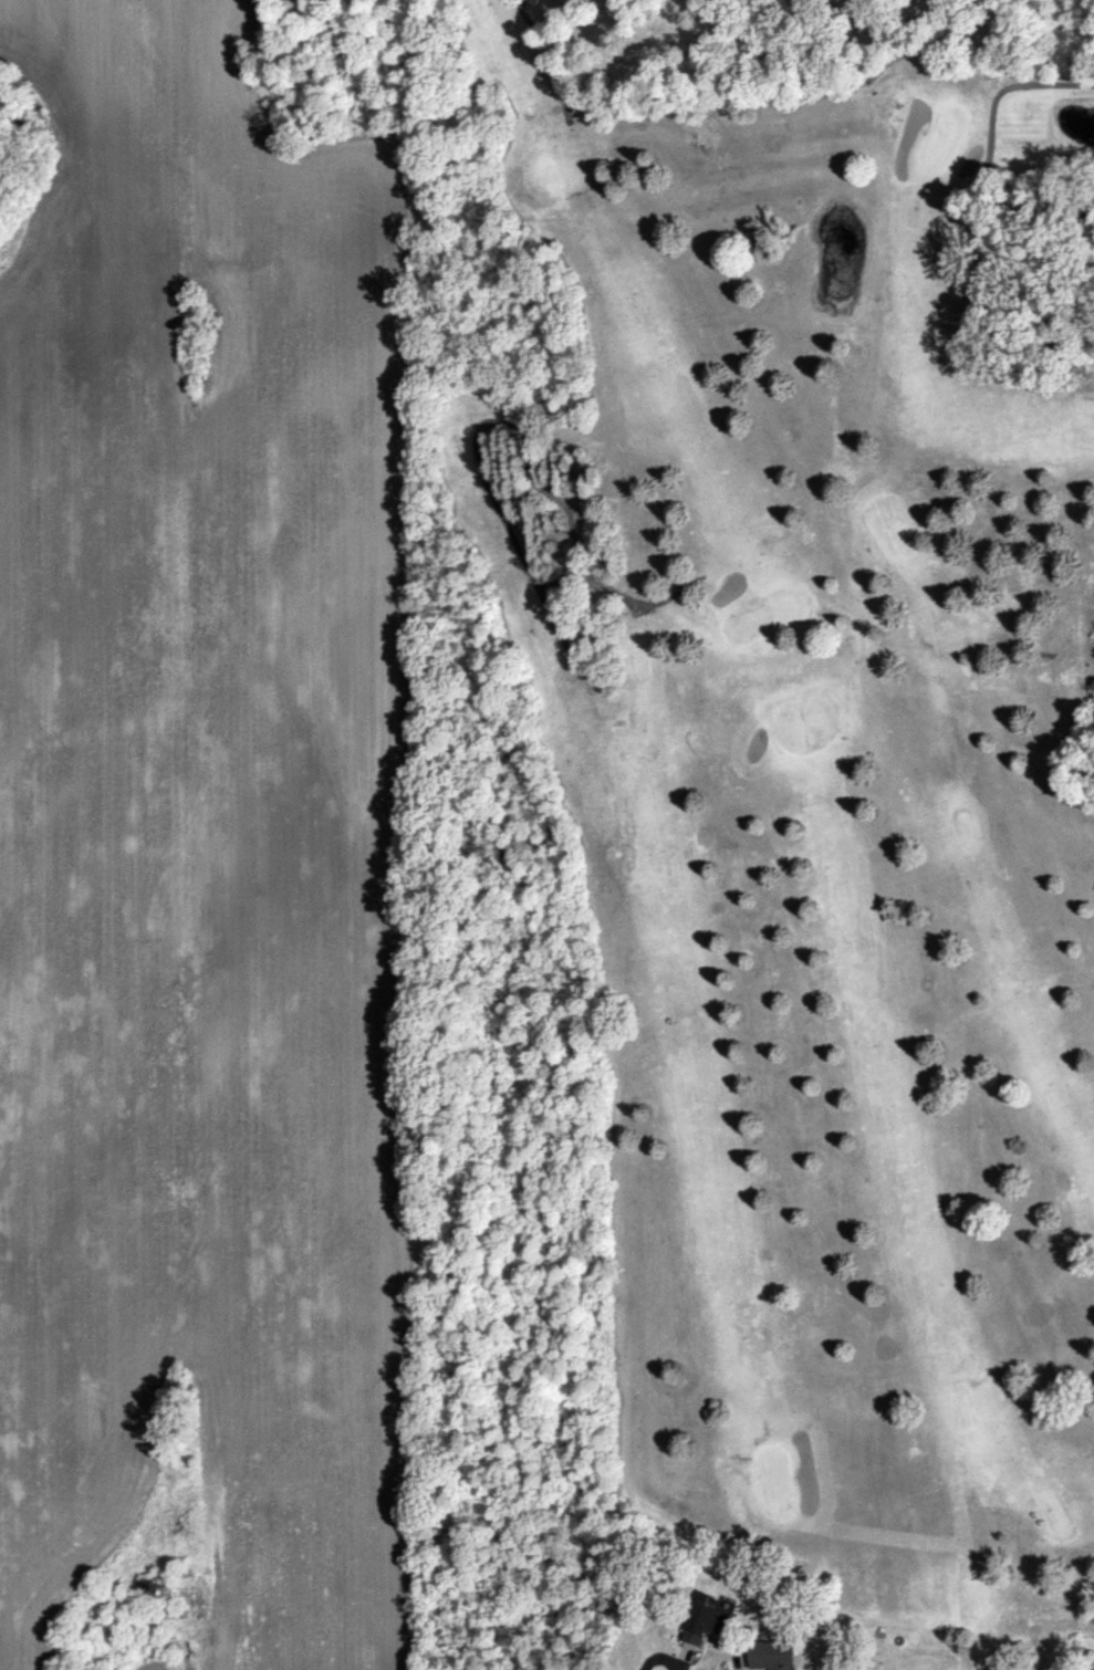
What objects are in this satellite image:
park: (825, 754)
crop: (194, 775)
building: (705, 1619)
building: (773, 1655)

